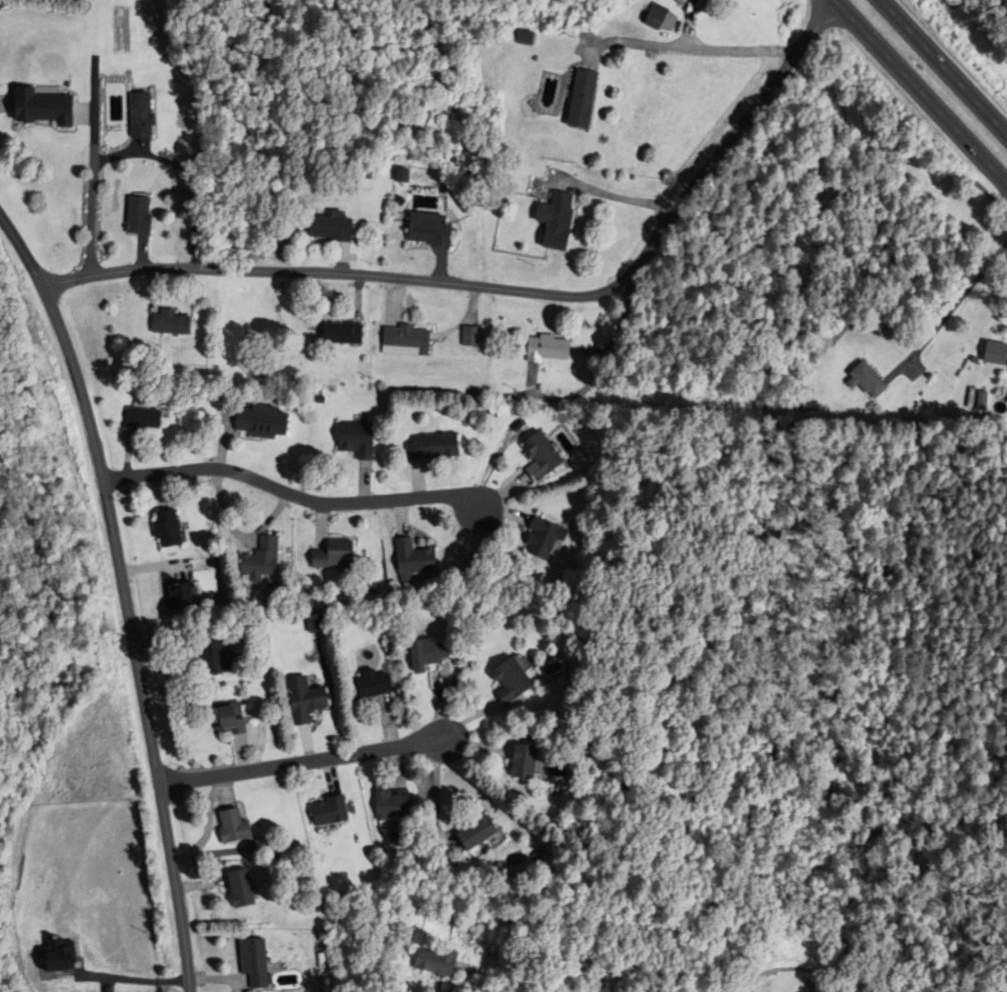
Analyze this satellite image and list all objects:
building: (689, 2)
building: (704, 2)
building: (669, 19)
building: (532, 39)
road: (694, 49)
road: (942, 68)
road: (921, 92)
building: (589, 100)
road: (3, 109)
building: (50, 109)
building: (148, 117)
road: (96, 167)
building: (406, 177)
building: (146, 217)
building: (560, 220)
building: (337, 229)
building: (436, 231)
road: (512, 292)
building: (176, 325)
building: (348, 335)
building: (474, 338)
building: (416, 339)
building: (554, 349)
building: (998, 352)
building: (871, 381)
building: (150, 417)
building: (267, 421)
road: (938, 428)
building: (362, 438)
building: (437, 446)
building: (548, 455)
road: (293, 494)
building: (173, 528)
building: (550, 538)
building: (339, 554)
building: (418, 558)
building: (264, 559)
road: (127, 595)
building: (187, 596)
building: (436, 652)
building: (218, 656)
building: (516, 681)
building: (381, 685)
building: (311, 699)
building: (232, 719)
building: (530, 761)
road: (305, 763)
building: (398, 804)
building: (337, 810)
building: (239, 826)
building: (482, 832)
building: (246, 888)
building: (259, 962)
building: (442, 962)
park: (754, 978)

